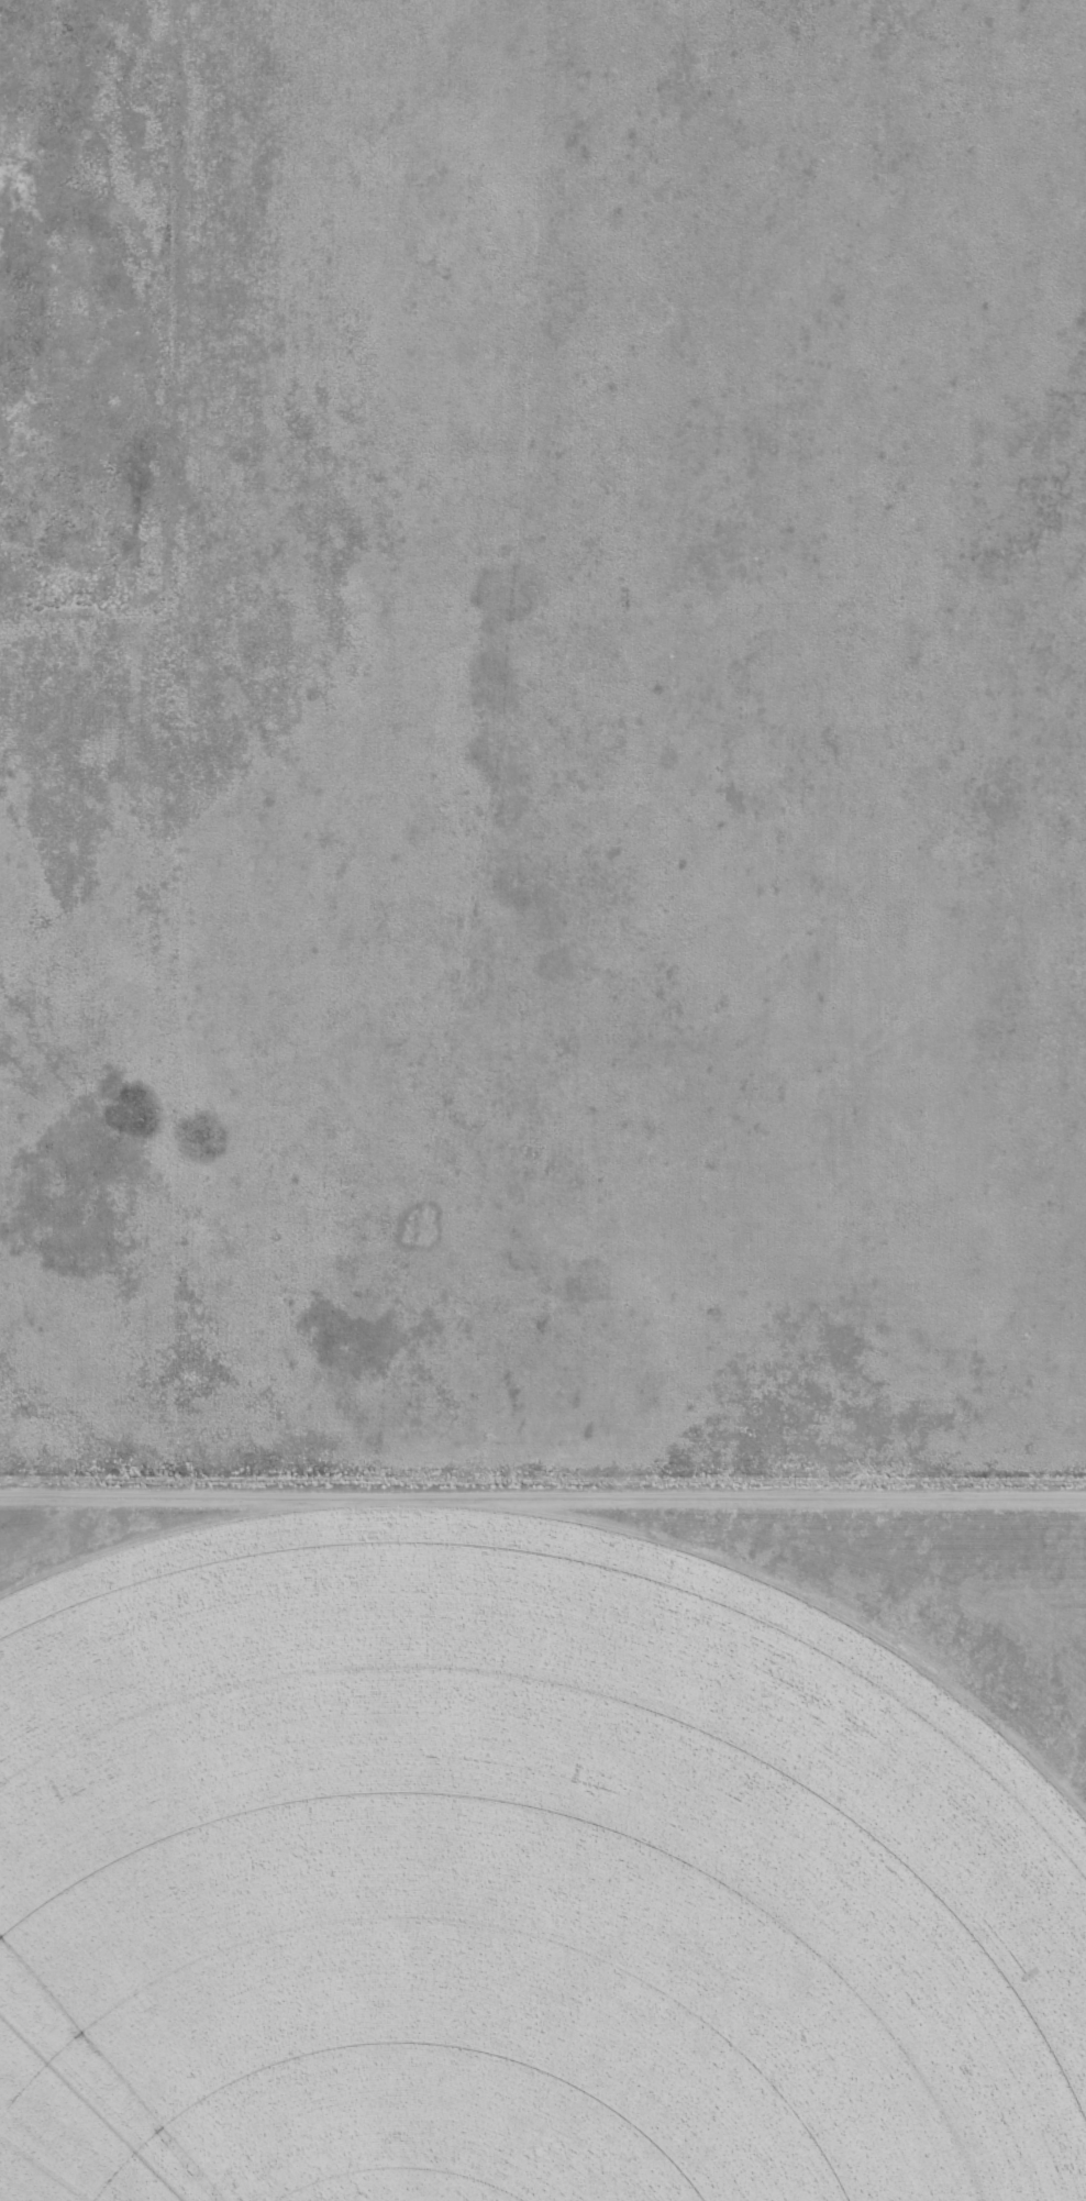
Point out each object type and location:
road: (543, 1515)

